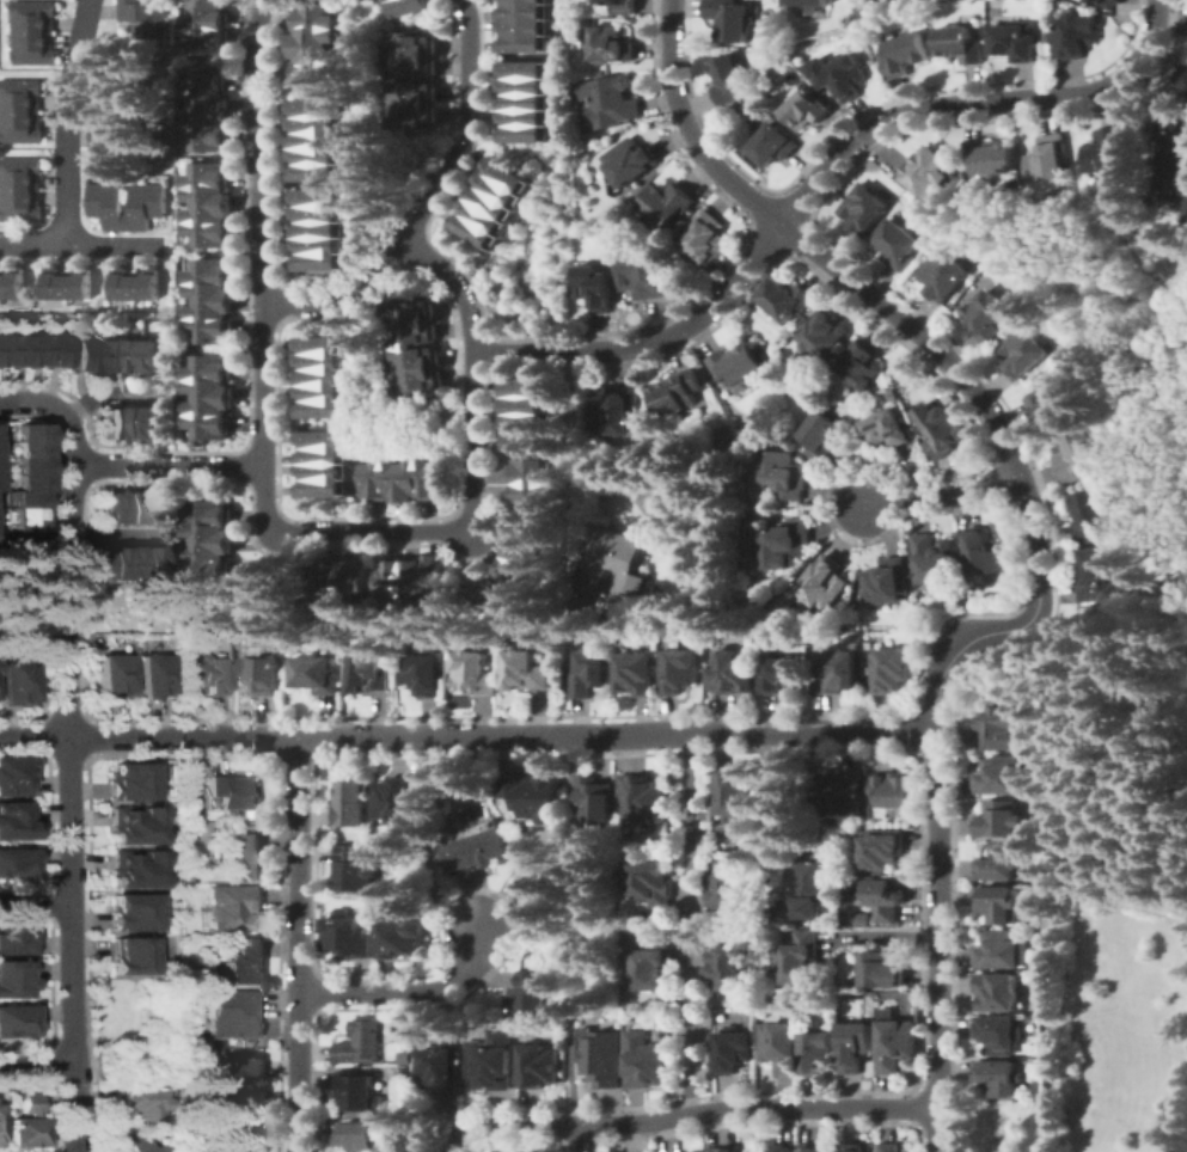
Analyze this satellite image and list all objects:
building: (390, 0)
building: (869, 0)
building: (521, 1)
building: (210, 2)
building: (807, 2)
building: (1106, 2)
building: (408, 6)
building: (620, 6)
building: (520, 11)
building: (31, 14)
building: (318, 16)
building: (143, 17)
building: (208, 18)
building: (733, 20)
building: (521, 27)
building: (1075, 35)
building: (317, 36)
building: (1048, 36)
building: (208, 41)
building: (1015, 41)
building: (411, 43)
building: (520, 43)
building: (960, 43)
building: (610, 45)
building: (31, 47)
building: (317, 53)
building: (905, 54)
building: (411, 67)
building: (522, 68)
building: (318, 73)
building: (839, 75)
building: (1182, 75)
building: (729, 76)
building: (207, 78)
building: (522, 85)
building: (411, 91)
building: (19, 93)
building: (208, 98)
building: (522, 100)
building: (608, 103)
building: (749, 103)
building: (317, 106)
building: (806, 108)
building: (208, 116)
building: (411, 116)
building: (522, 117)
road: (68, 121)
building: (318, 123)
building: (19, 125)
building: (116, 130)
building: (522, 133)
building: (207, 136)
building: (317, 139)
building: (772, 145)
building: (1109, 149)
building: (318, 155)
building: (990, 157)
building: (1050, 159)
building: (630, 163)
building: (317, 171)
building: (19, 172)
building: (928, 172)
building: (207, 173)
building: (504, 173)
building: (1171, 173)
road: (816, 176)
building: (496, 188)
building: (208, 195)
building: (318, 196)
road: (427, 201)
building: (487, 201)
building: (19, 204)
building: (106, 204)
building: (667, 204)
building: (145, 206)
building: (864, 209)
building: (318, 212)
building: (208, 213)
building: (479, 215)
building: (318, 228)
building: (471, 229)
building: (207, 232)
building: (705, 237)
building: (318, 244)
building: (898, 244)
road: (80, 245)
road: (264, 257)
building: (319, 261)
building: (207, 270)
building: (943, 275)
building: (643, 278)
building: (11, 281)
building: (54, 282)
building: (79, 282)
building: (121, 282)
building: (146, 282)
building: (595, 287)
building: (208, 290)
building: (785, 299)
building: (208, 308)
building: (409, 310)
building: (985, 315)
building: (207, 329)
building: (412, 333)
building: (825, 333)
building: (319, 343)
building: (1, 349)
building: (13, 349)
building: (30, 349)
building: (47, 349)
building: (1023, 354)
building: (72, 355)
building: (88, 355)
building: (105, 355)
building: (122, 355)
building: (139, 355)
building: (155, 355)
building: (415, 357)
building: (319, 359)
building: (736, 364)
building: (863, 366)
building: (207, 367)
road: (470, 370)
building: (320, 375)
building: (418, 382)
building: (208, 386)
building: (524, 388)
building: (319, 391)
road: (109, 392)
building: (677, 392)
building: (208, 404)
building: (1054, 404)
building: (524, 405)
building: (320, 408)
building: (617, 411)
building: (525, 422)
building: (105, 423)
building: (122, 423)
building: (139, 423)
building: (155, 423)
building: (207, 424)
building: (887, 429)
building: (941, 429)
building: (24, 430)
building: (820, 436)
building: (320, 437)
building: (525, 437)
building: (24, 447)
building: (320, 454)
building: (1077, 455)
building: (24, 464)
road: (166, 466)
building: (320, 470)
building: (530, 471)
road: (574, 474)
building: (784, 474)
building: (373, 476)
building: (432, 476)
building: (393, 477)
building: (411, 477)
building: (24, 480)
building: (320, 486)
building: (530, 494)
road: (940, 495)
building: (19, 497)
building: (105, 508)
building: (122, 508)
building: (139, 508)
building: (155, 508)
building: (207, 513)
building: (19, 514)
building: (1089, 515)
building: (19, 531)
road: (116, 532)
road: (363, 532)
building: (208, 533)
road: (1036, 535)
building: (787, 545)
building: (208, 551)
building: (525, 552)
building: (983, 553)
building: (122, 560)
building: (139, 560)
building: (155, 560)
building: (934, 560)
building: (88, 562)
building: (105, 562)
building: (207, 570)
building: (620, 571)
building: (436, 575)
building: (513, 575)
building: (1096, 576)
building: (390, 578)
building: (415, 578)
building: (329, 580)
building: (353, 580)
building: (887, 582)
building: (825, 583)
building: (501, 593)
building: (526, 670)
building: (680, 670)
building: (891, 670)
building: (734, 672)
building: (838, 672)
building: (206, 673)
building: (369, 673)
building: (592, 673)
building: (317, 674)
building: (426, 674)
building: (475, 674)
building: (636, 674)
building: (784, 674)
building: (111, 675)
building: (151, 675)
building: (261, 675)
building: (16, 684)
building: (1002, 727)
road: (31, 735)
road: (500, 735)
road: (63, 749)
building: (999, 774)
building: (13, 776)
building: (129, 780)
building: (893, 789)
building: (234, 791)
building: (845, 792)
building: (734, 793)
building: (533, 795)
building: (644, 796)
building: (398, 799)
building: (596, 802)
building: (353, 803)
building: (1002, 819)
building: (14, 820)
road: (690, 820)
building: (131, 825)
building: (880, 850)
building: (477, 851)
building: (244, 853)
building: (14, 862)
building: (1001, 863)
building: (355, 868)
building: (133, 869)
building: (651, 883)
building: (726, 883)
building: (809, 888)
building: (546, 899)
building: (883, 899)
road: (35, 900)
building: (998, 903)
building: (234, 906)
building: (130, 912)
road: (579, 927)
building: (14, 936)
building: (347, 937)
building: (403, 937)
road: (299, 943)
building: (1001, 949)
building: (127, 956)
building: (800, 957)
building: (243, 960)
building: (651, 967)
building: (724, 967)
building: (881, 969)
building: (12, 979)
road: (405, 989)
building: (998, 991)
building: (530, 992)
building: (237, 1012)
building: (14, 1021)
road: (689, 1028)
building: (1001, 1034)
building: (362, 1041)
building: (897, 1043)
building: (779, 1046)
building: (856, 1046)
building: (734, 1050)
building: (818, 1052)
building: (602, 1055)
building: (408, 1058)
building: (492, 1060)
building: (644, 1060)
road: (37, 1065)
building: (539, 1065)
building: (441, 1067)
building: (408, 1073)
building: (1001, 1077)
building: (243, 1079)
building: (359, 1091)
building: (137, 1105)
road: (689, 1114)
building: (24, 1123)
building: (243, 1133)
building: (357, 1135)
building: (131, 1144)
building: (785, 1146)
building: (852, 1147)
building: (889, 1147)
building: (723, 1148)
building: (812, 1148)
building: (509, 1151)
building: (693, 1151)

